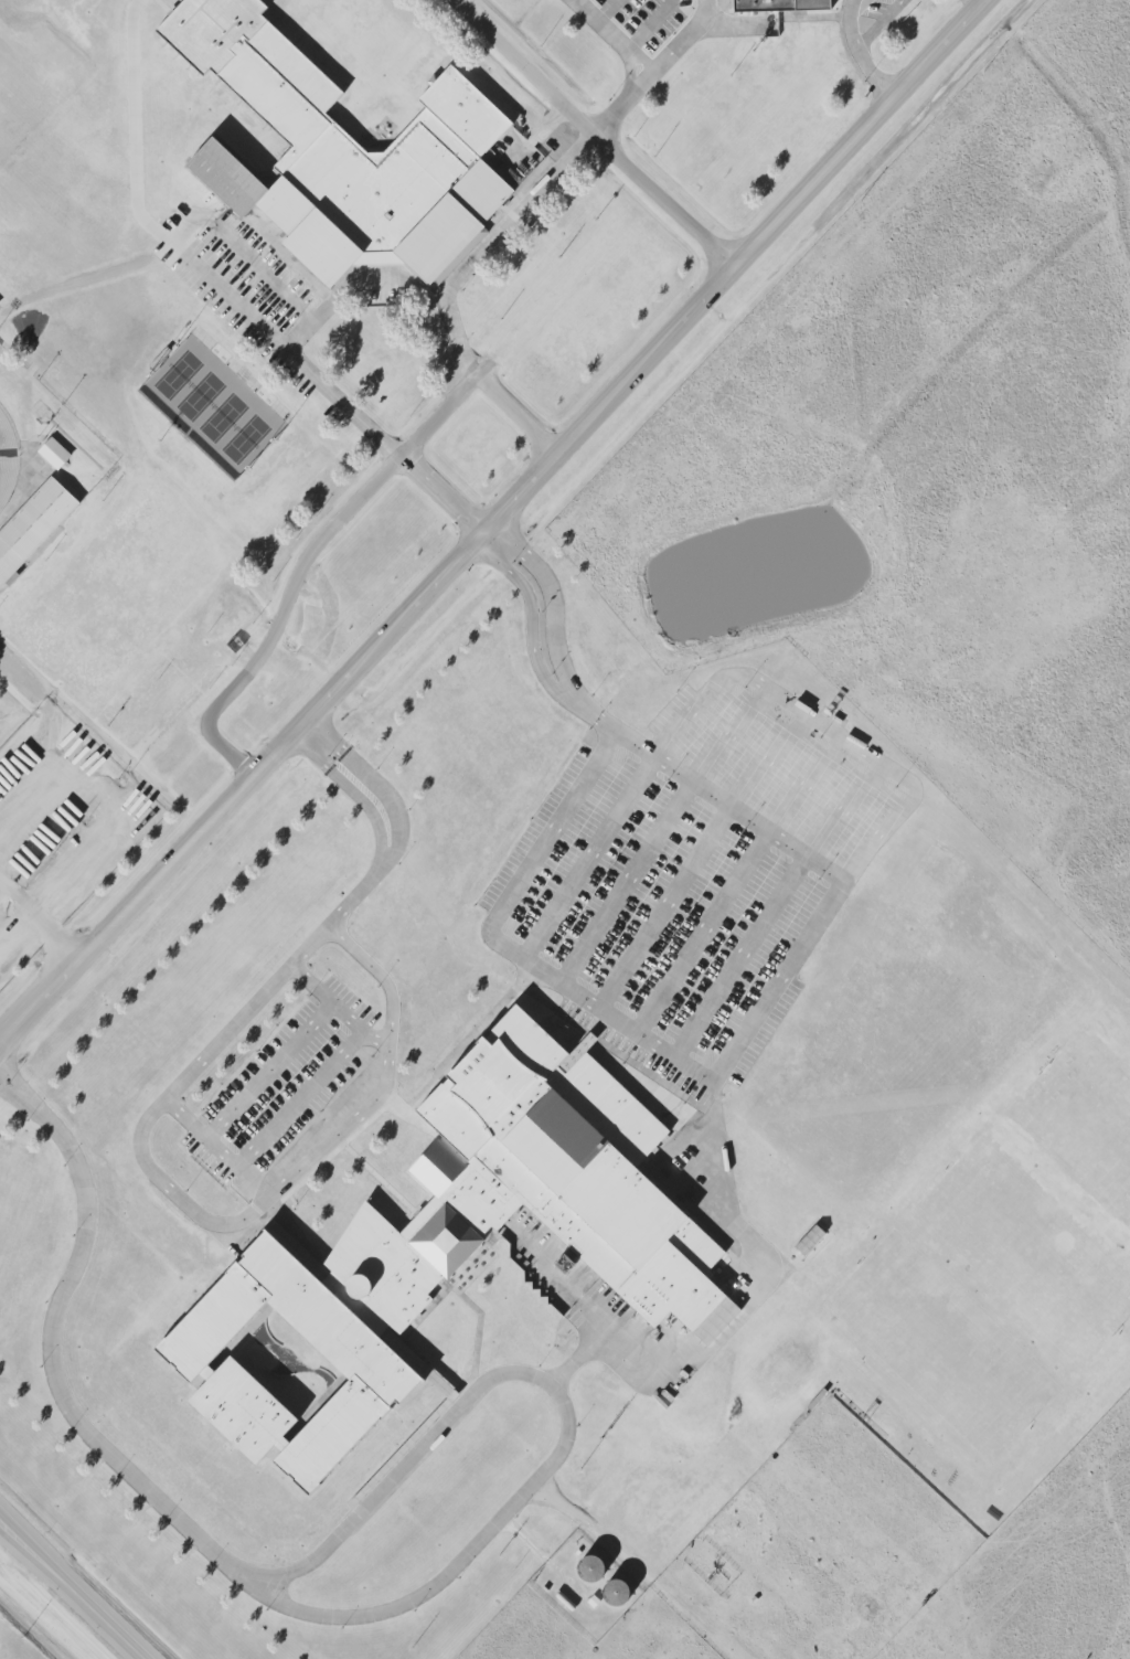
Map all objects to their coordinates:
building: (777, 4)
road: (606, 11)
road: (881, 23)
road: (649, 25)
road: (610, 36)
road: (680, 40)
road: (859, 51)
road: (622, 102)
road: (599, 130)
building: (360, 169)
road: (489, 245)
road: (383, 285)
road: (232, 297)
building: (53, 453)
road: (382, 481)
road: (490, 519)
building: (32, 524)
road: (559, 692)
road: (829, 729)
road: (47, 740)
road: (386, 858)
road: (351, 895)
road: (36, 923)
road: (371, 969)
road: (324, 998)
road: (243, 1010)
road: (731, 1057)
road: (267, 1070)
road: (274, 1124)
road: (259, 1205)
building: (809, 1240)
building: (441, 1252)
road: (46, 1358)
road: (563, 1414)
road: (76, 1585)

